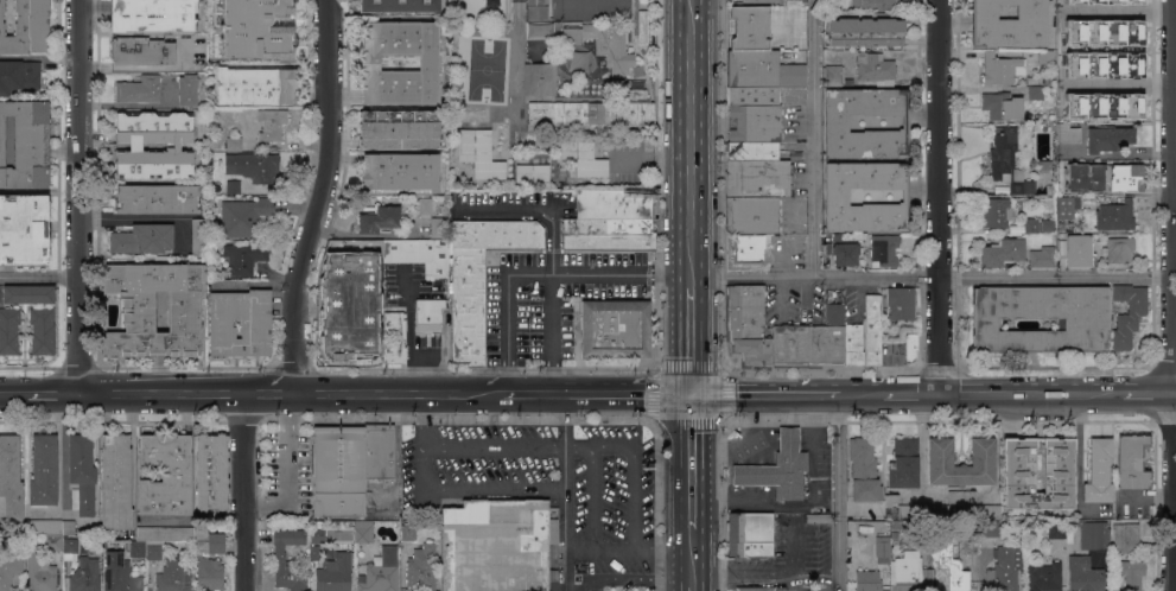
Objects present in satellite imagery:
building: (235, 1)
building: (642, 1)
building: (756, 1)
building: (1072, 1)
building: (1115, 1)
building: (535, 2)
building: (796, 2)
building: (268, 5)
building: (876, 5)
building: (399, 6)
building: (221, 8)
building: (533, 11)
road: (1117, 11)
building: (152, 14)
building: (642, 18)
building: (1007, 23)
building: (26, 27)
building: (750, 27)
building: (538, 28)
building: (865, 31)
building: (1101, 32)
building: (255, 34)
building: (642, 34)
building: (452, 38)
building: (605, 44)
building: (141, 51)
building: (847, 51)
building: (230, 56)
building: (1045, 56)
building: (848, 59)
building: (400, 62)
building: (1082, 63)
building: (1117, 64)
building: (759, 69)
building: (876, 69)
building: (1000, 69)
building: (833, 75)
building: (19, 76)
building: (540, 78)
building: (848, 82)
road: (1119, 83)
building: (255, 85)
building: (140, 89)
building: (187, 89)
building: (1036, 93)
building: (752, 95)
building: (1002, 106)
building: (1104, 106)
building: (596, 110)
building: (866, 122)
building: (754, 123)
building: (272, 125)
building: (399, 129)
building: (1068, 133)
road: (814, 138)
building: (1107, 139)
road: (693, 142)
building: (234, 144)
building: (26, 145)
building: (154, 146)
building: (752, 150)
building: (479, 153)
building: (214, 157)
building: (584, 158)
building: (1007, 161)
building: (1044, 165)
building: (254, 167)
building: (400, 171)
building: (533, 172)
building: (1104, 177)
building: (757, 178)
building: (234, 186)
building: (1050, 190)
road: (77, 196)
building: (866, 196)
road: (939, 196)
road: (317, 197)
building: (158, 199)
building: (424, 205)
building: (1067, 206)
road: (511, 208)
building: (996, 212)
building: (751, 215)
building: (1115, 215)
building: (243, 216)
building: (379, 220)
building: (611, 221)
building: (1031, 224)
building: (1061, 225)
building: (1045, 227)
building: (438, 228)
building: (24, 229)
building: (199, 237)
building: (838, 237)
building: (142, 239)
building: (748, 249)
building: (884, 249)
building: (1079, 250)
building: (1119, 250)
building: (1002, 252)
building: (843, 253)
building: (419, 254)
building: (1043, 256)
building: (244, 258)
road: (1172, 258)
building: (374, 261)
road: (599, 273)
road: (38, 275)
building: (479, 277)
parking lot: (548, 277)
road: (933, 277)
building: (28, 294)
road: (552, 295)
building: (354, 298)
building: (901, 303)
building: (139, 307)
building: (1129, 313)
building: (427, 317)
building: (255, 323)
building: (1083, 324)
building: (748, 325)
building: (872, 329)
building: (8, 330)
building: (42, 330)
building: (614, 330)
road: (508, 333)
building: (388, 338)
road: (693, 338)
building: (811, 342)
building: (362, 344)
building: (852, 344)
building: (332, 345)
building: (910, 345)
road: (655, 371)
road: (13, 392)
road: (596, 392)
traffic signals: (693, 392)
road: (767, 392)
road: (859, 392)
road: (908, 392)
road: (1029, 392)
road: (1148, 392)
road: (1175, 392)
road: (52, 393)
road: (288, 393)
road: (784, 438)
road: (754, 445)
road: (529, 447)
road: (427, 449)
building: (379, 452)
road: (693, 459)
building: (1132, 460)
building: (940, 462)
road: (58, 463)
building: (903, 463)
road: (1079, 465)
building: (778, 468)
road: (287, 469)
building: (338, 470)
building: (864, 470)
building: (1099, 470)
building: (43, 471)
building: (211, 471)
building: (1059, 471)
building: (82, 474)
building: (166, 474)
building: (11, 475)
building: (116, 482)
parking lot: (551, 490)
road: (244, 491)
road: (496, 491)
road: (565, 491)
road: (840, 491)
building: (961, 497)
building: (891, 498)
road: (592, 500)
road: (633, 500)
road: (809, 501)
building: (910, 510)
building: (935, 510)
building: (987, 511)
building: (819, 517)
building: (900, 525)
building: (44, 526)
building: (69, 526)
building: (989, 527)
building: (199, 528)
building: (1054, 529)
building: (408, 530)
building: (363, 532)
building: (165, 533)
building: (750, 534)
building: (1094, 534)
building: (318, 535)
building: (1126, 536)
building: (52, 542)
building: (71, 545)
building: (496, 545)
building: (971, 546)
building: (138, 548)
building: (883, 548)
building: (154, 549)
building: (314, 552)
road: (630, 553)
road: (694, 557)
building: (279, 558)
parking lot: (788, 558)
road: (794, 559)
building: (1096, 559)
building: (210, 563)
building: (952, 566)
building: (422, 568)
building: (1005, 568)
building: (9, 571)
building: (381, 571)
building: (42, 573)
building: (120, 573)
building: (910, 573)
building: (1085, 574)
building: (1130, 574)
building: (85, 576)
building: (174, 576)
road: (744, 576)
building: (1042, 577)
building: (332, 578)
building: (869, 580)
road: (659, 582)
road: (694, 587)
building: (755, 589)

